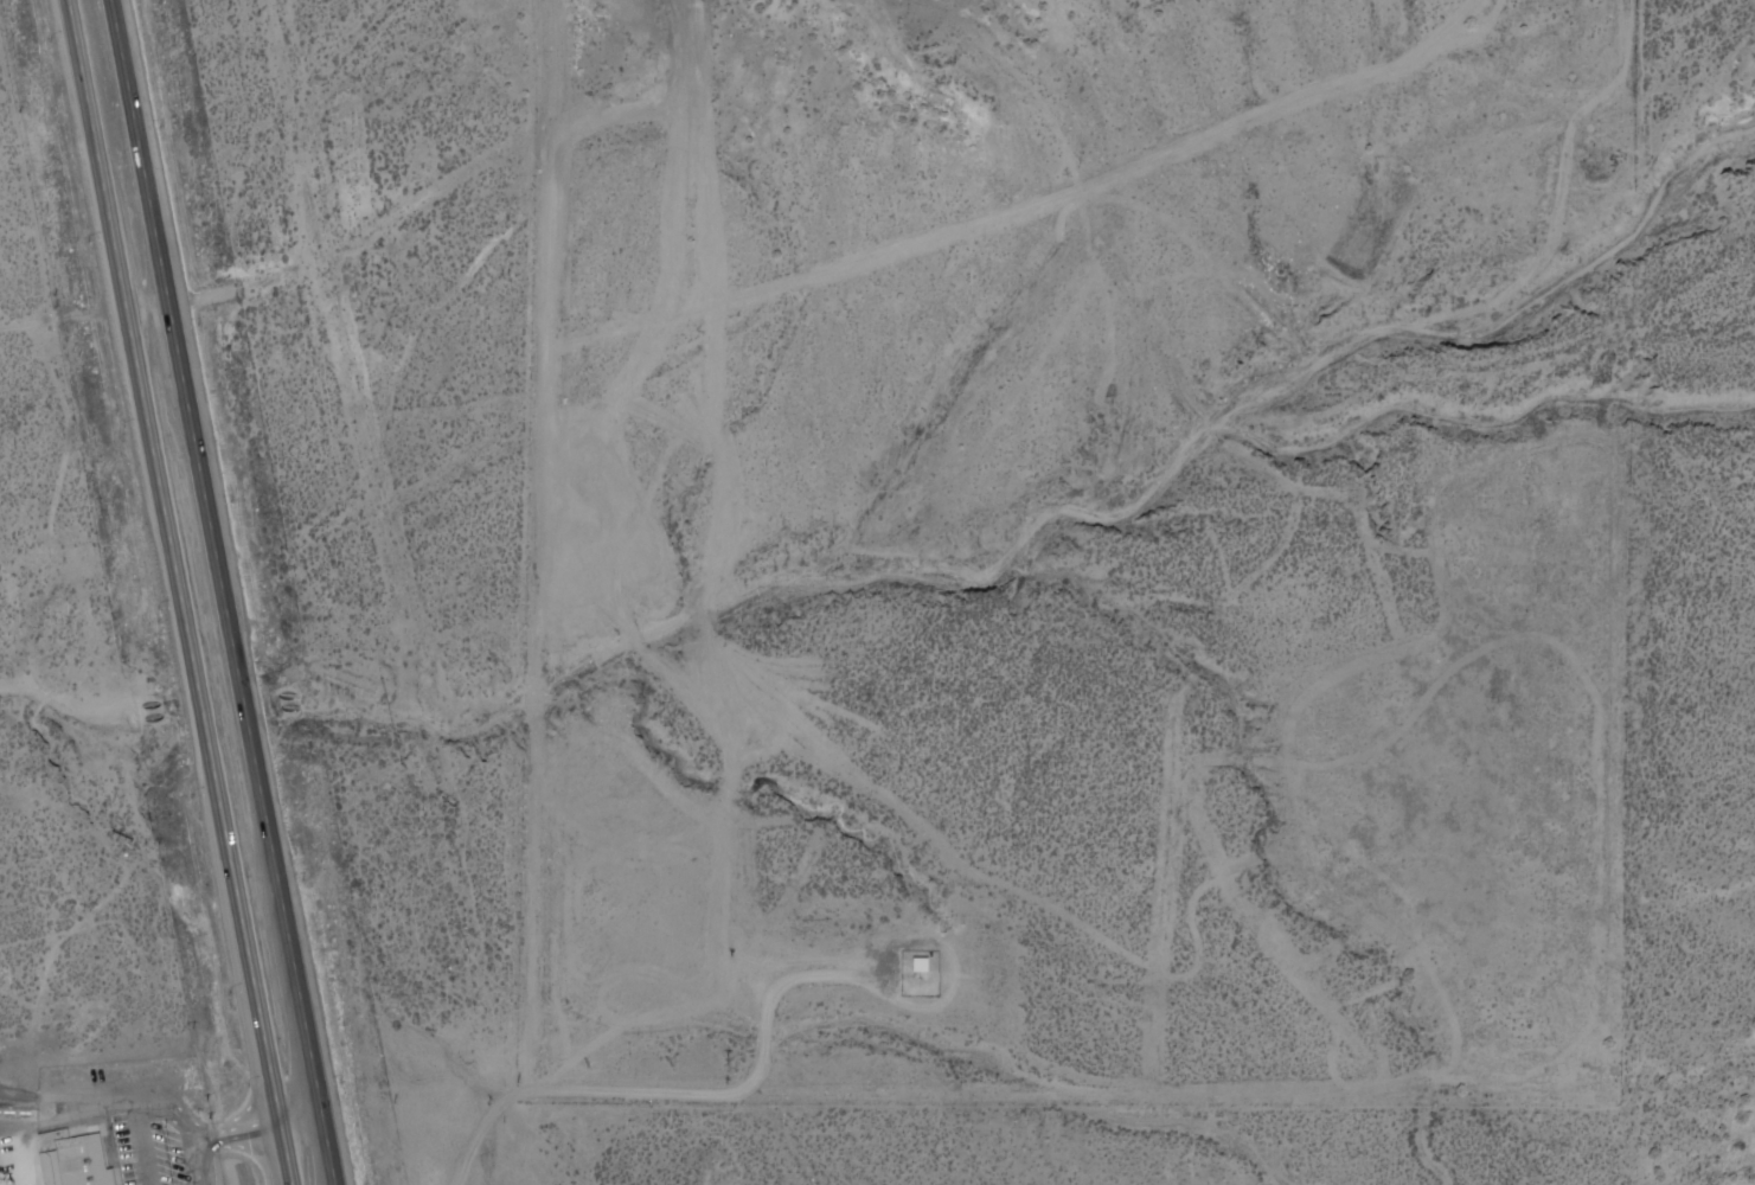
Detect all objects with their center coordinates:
road: (556, 198)
road: (783, 283)
road: (373, 443)
road: (181, 592)
road: (228, 592)
road: (546, 750)
building: (924, 963)
road: (790, 991)
road: (418, 1095)
road: (520, 1102)
road: (154, 1110)
building: (85, 1154)

